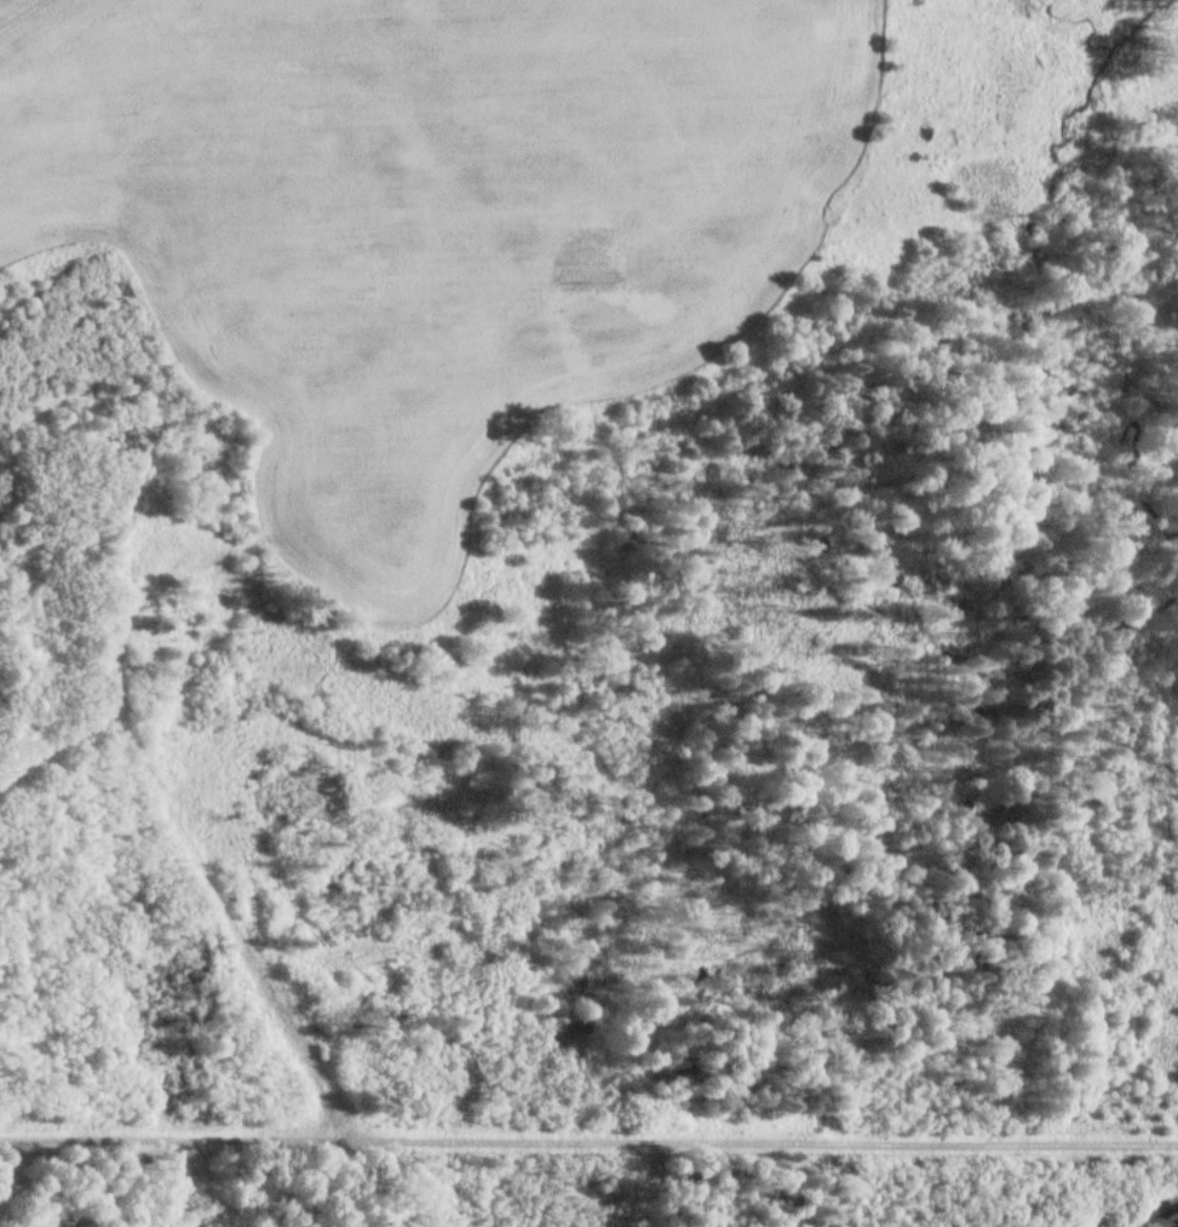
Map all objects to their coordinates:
road: (15, 10)
road: (588, 1141)

